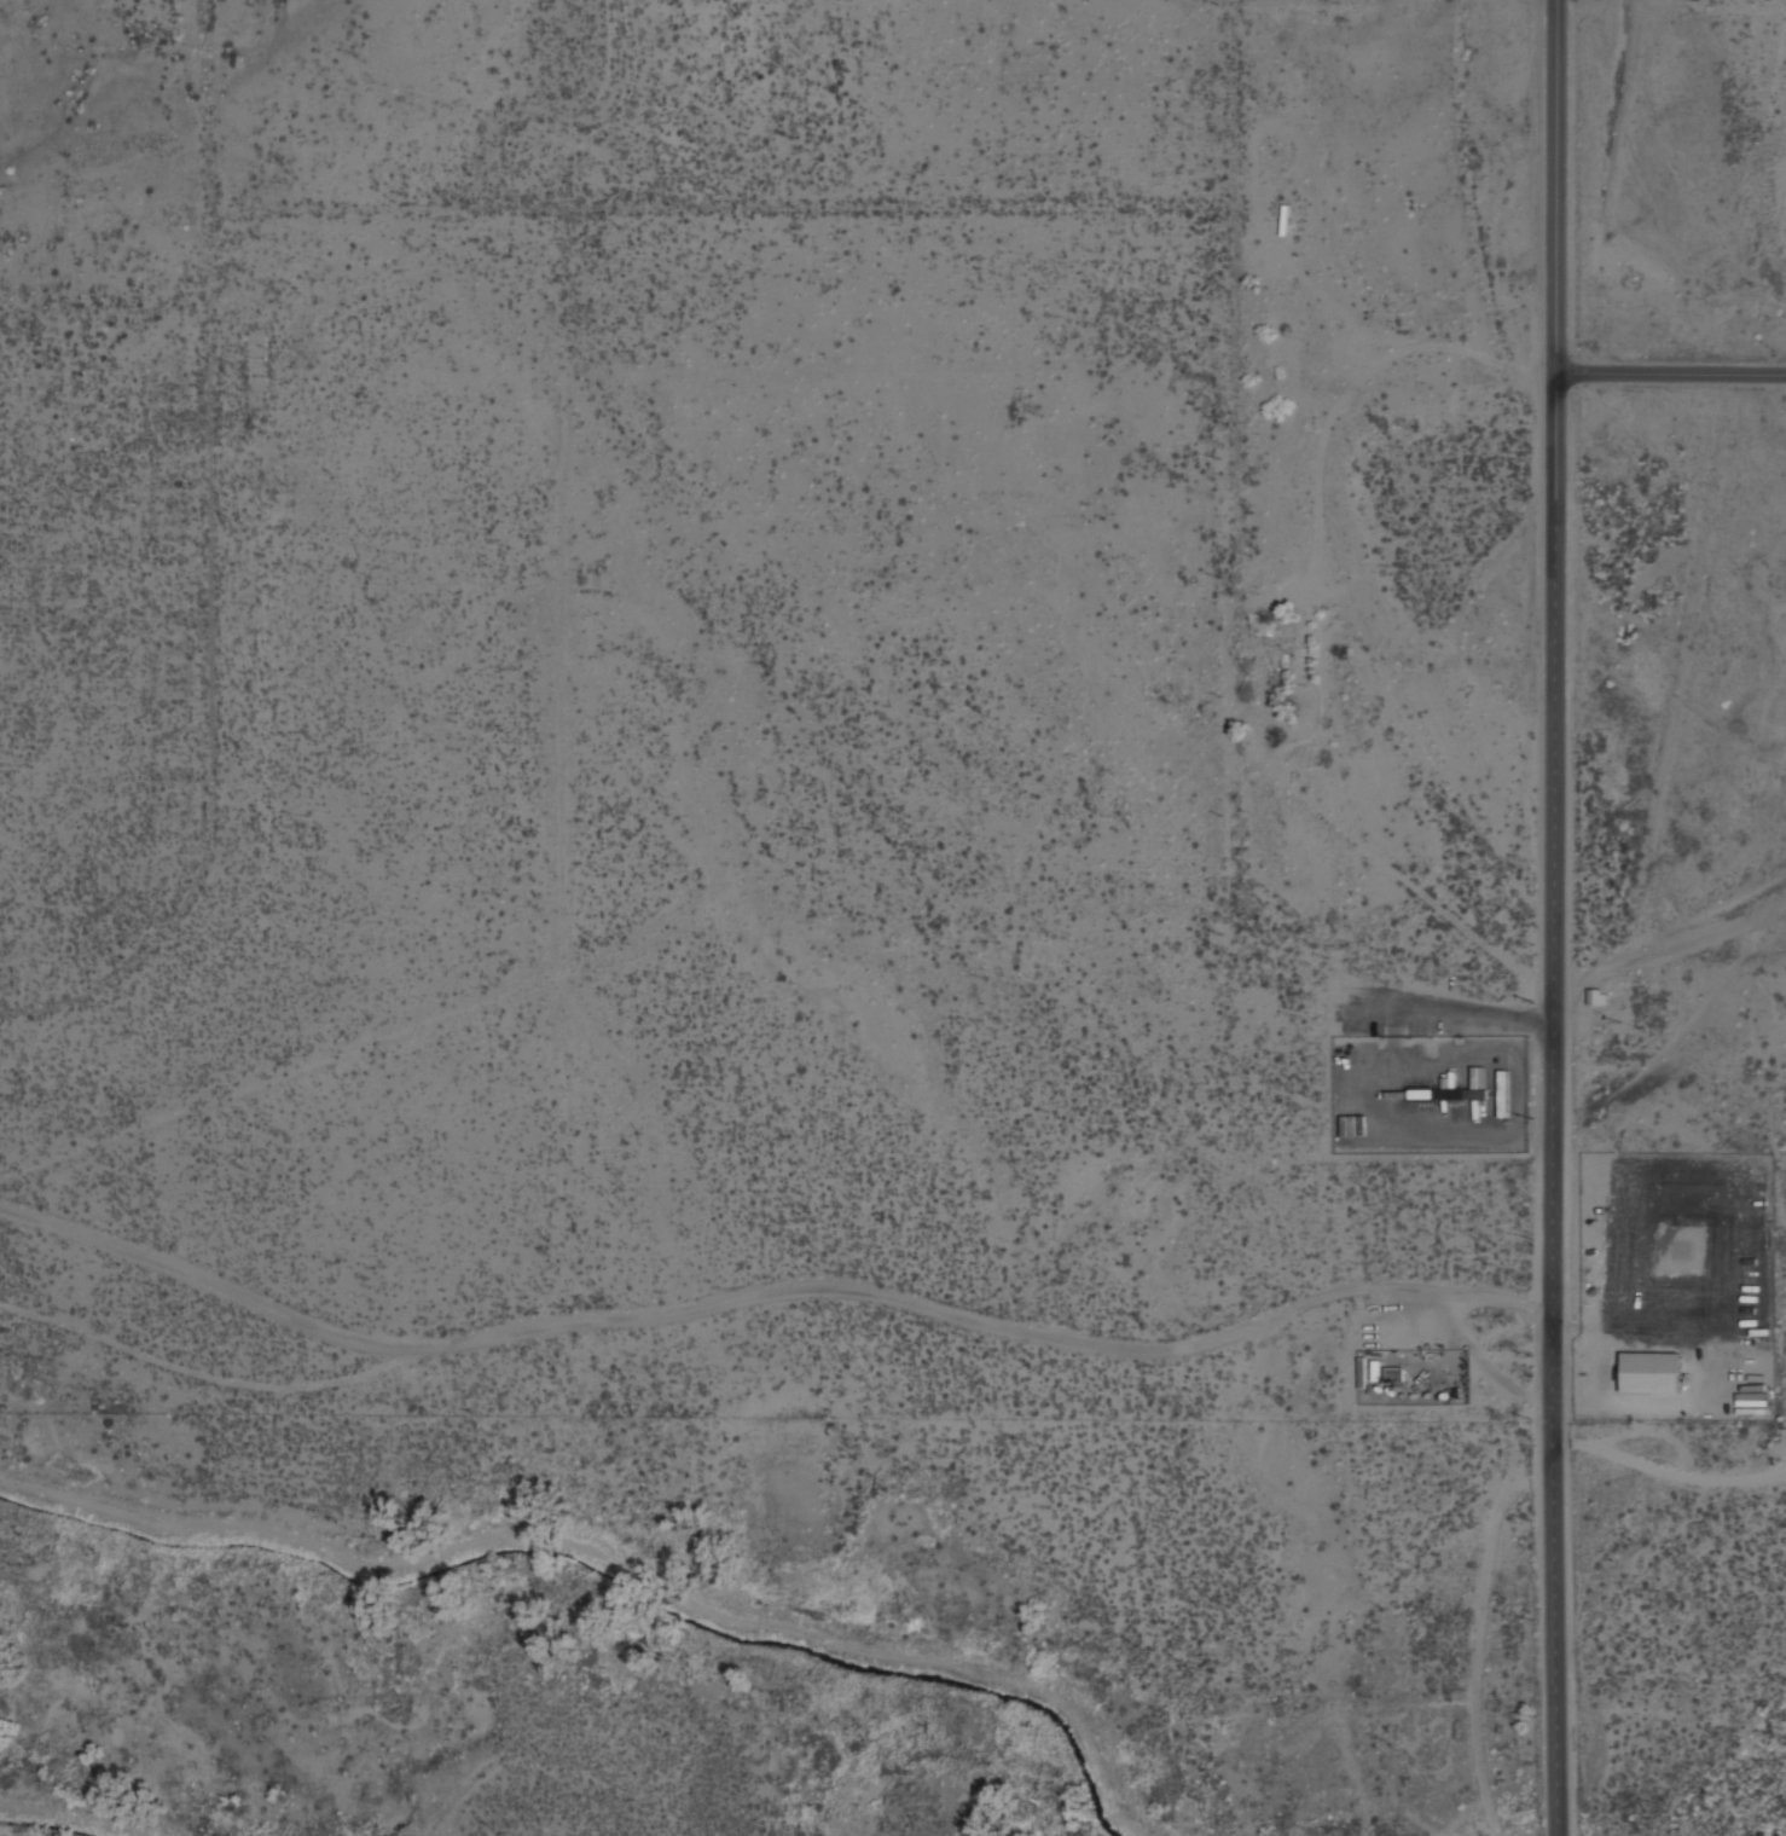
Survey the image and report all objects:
road: (1553, 186)
road: (1669, 373)
airport: (876, 696)
building: (1595, 997)
building: (1451, 1093)
building: (1498, 1097)
road: (1552, 1105)
helipad: (1681, 1249)
airport: (1684, 1285)
road: (769, 1291)
building: (1374, 1371)
airport hangar: (1648, 1372)
building: (1648, 1372)
building: (1393, 1373)
building: (1749, 1406)
road: (1666, 1467)

